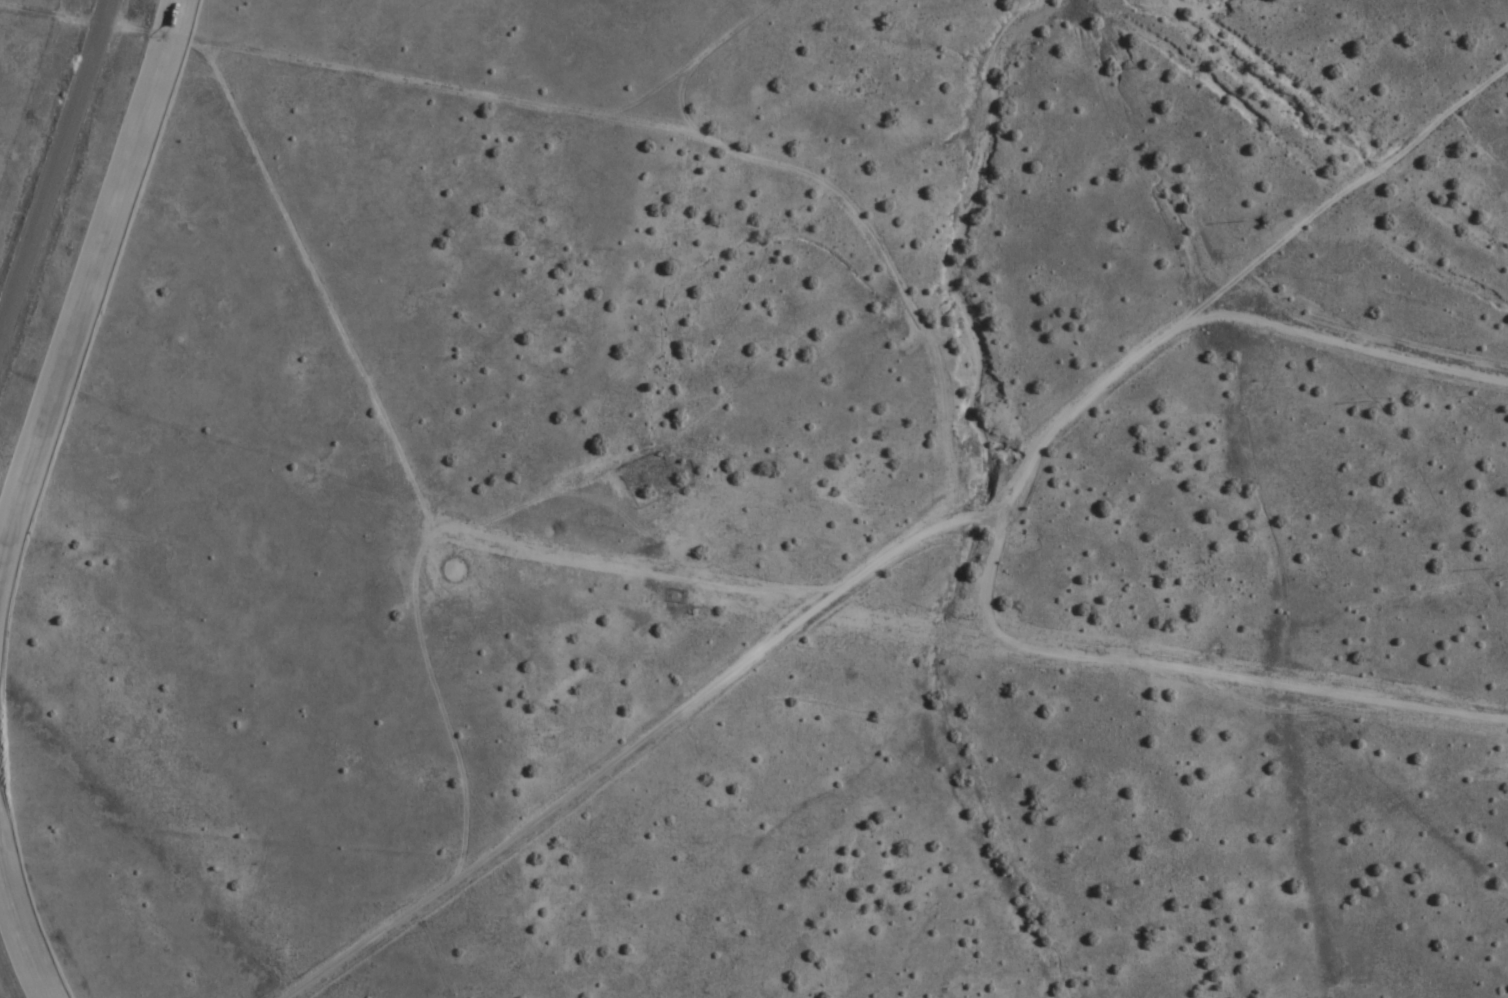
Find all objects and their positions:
road: (55, 176)

